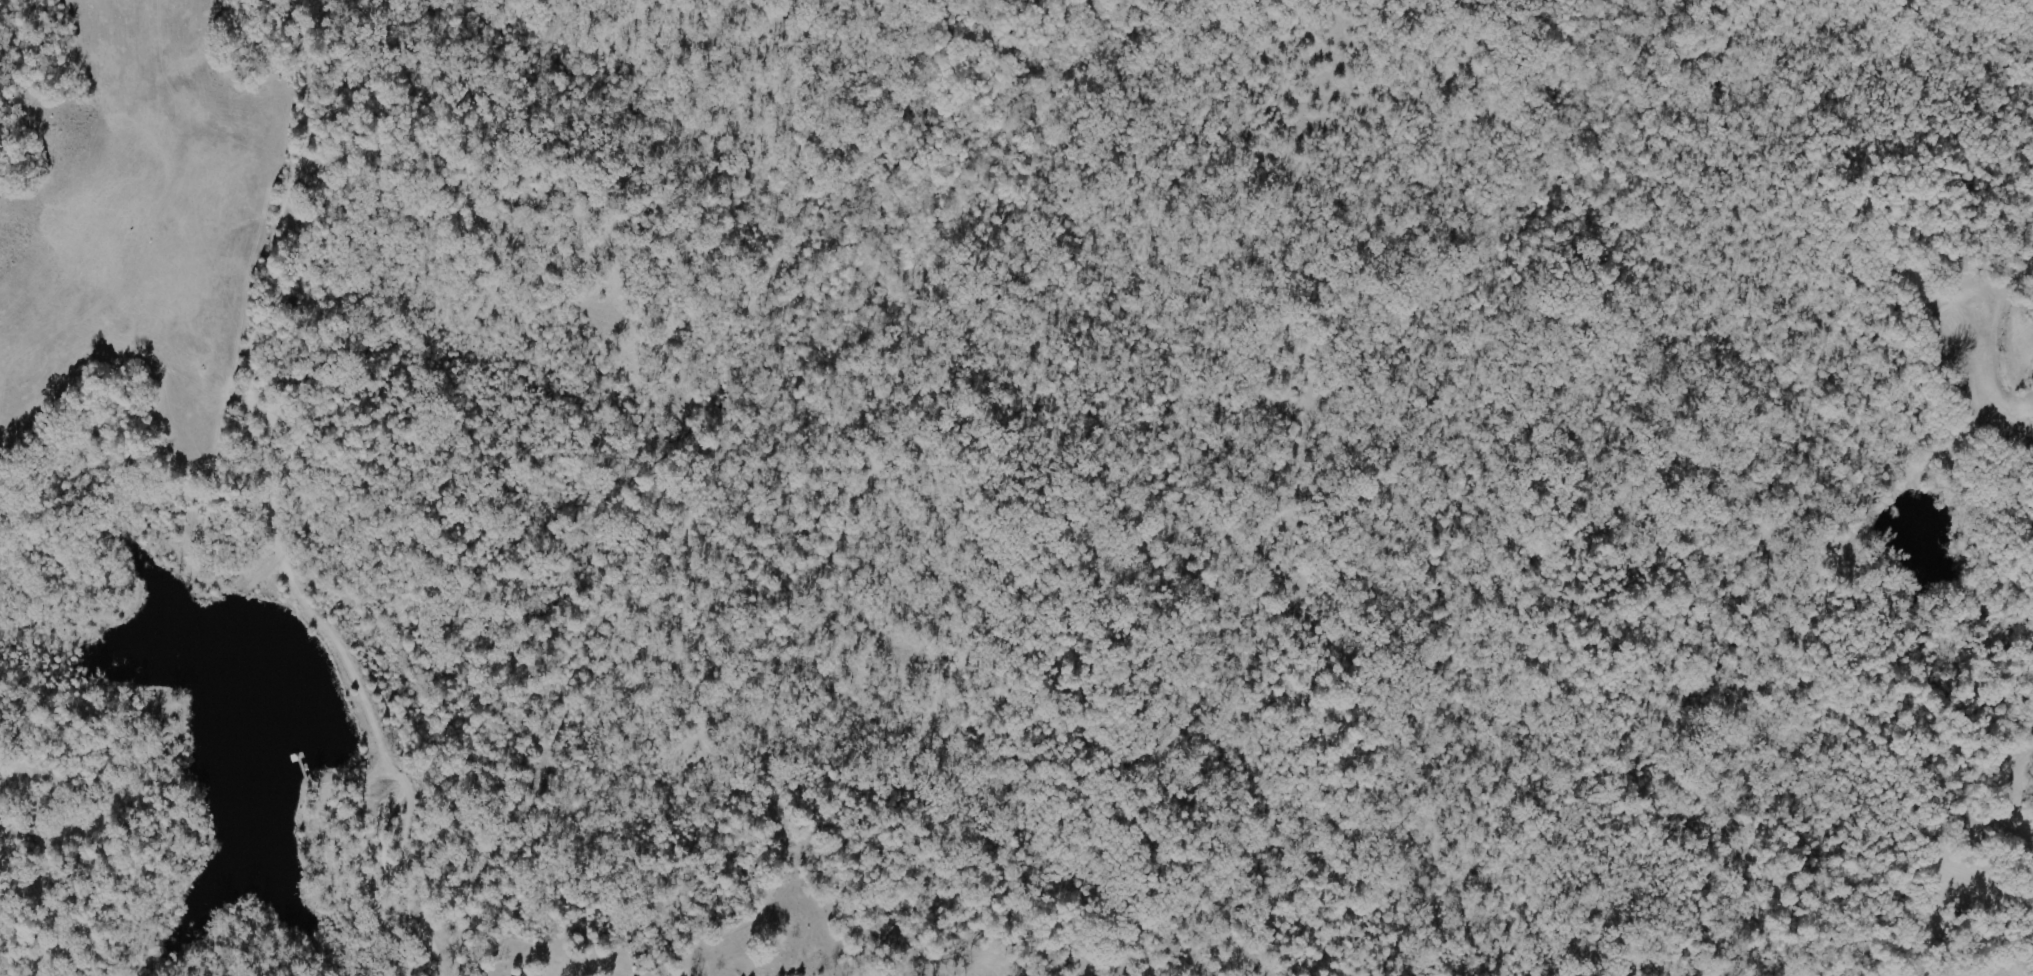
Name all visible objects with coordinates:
road: (1747, 728)

